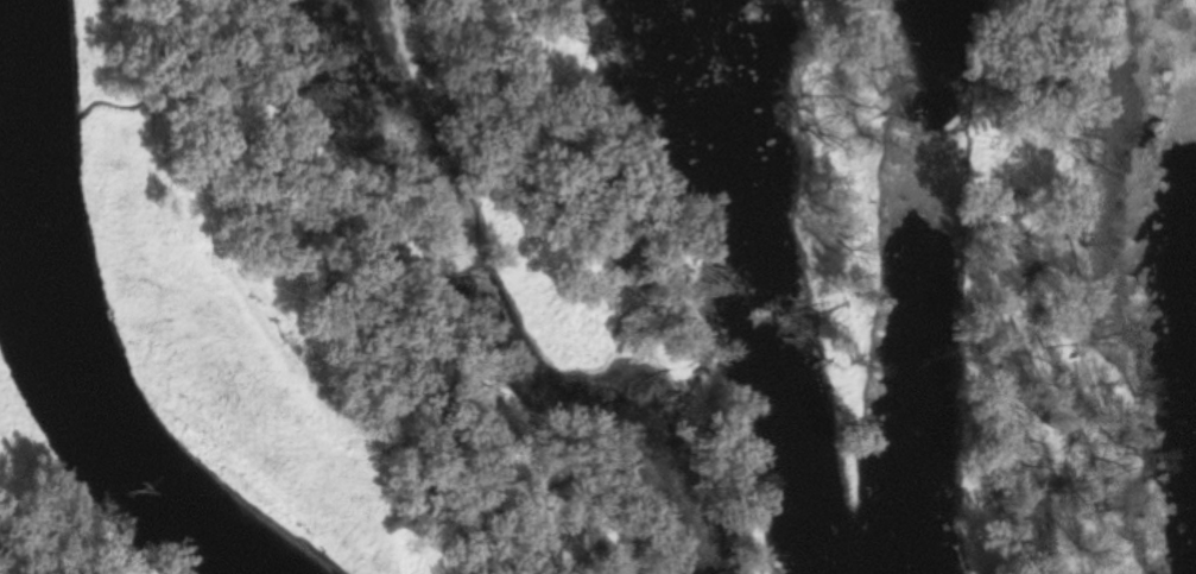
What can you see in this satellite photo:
river: (53, 336)
river: (915, 418)

